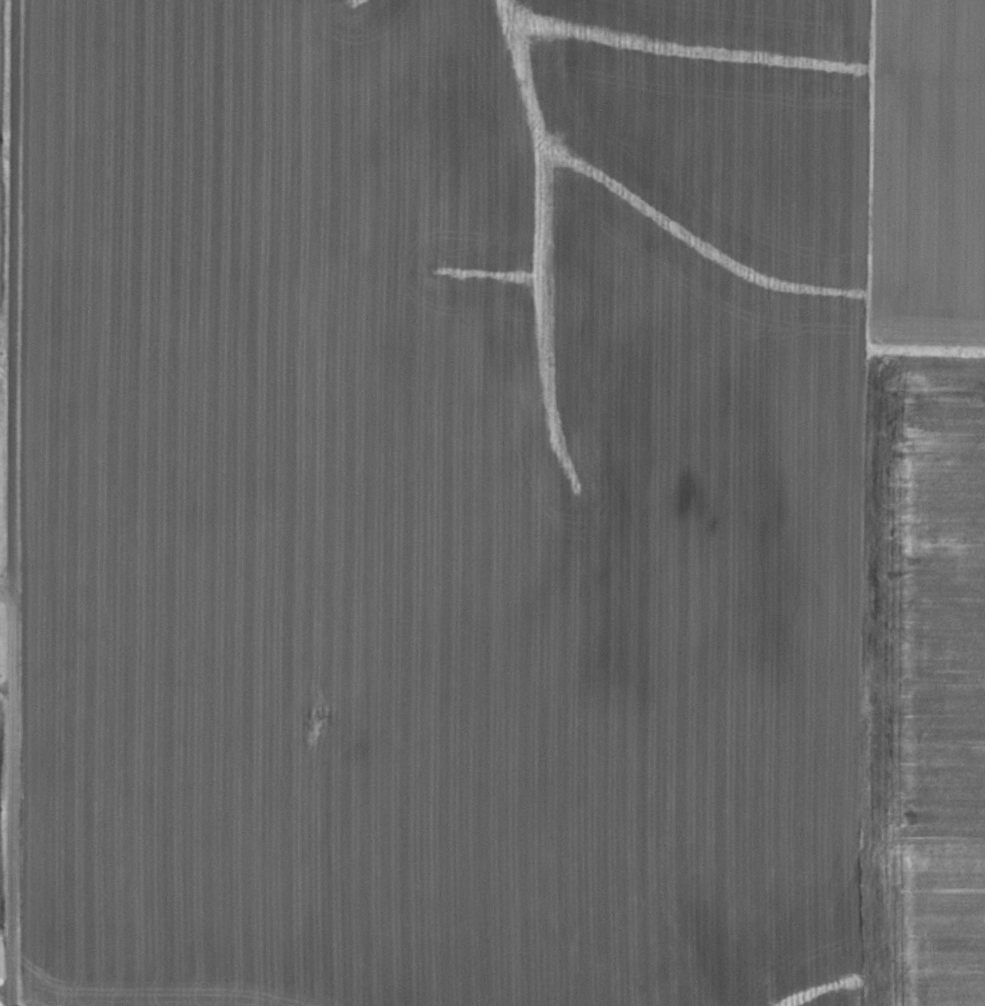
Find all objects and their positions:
road: (10, 503)
road: (5, 585)

